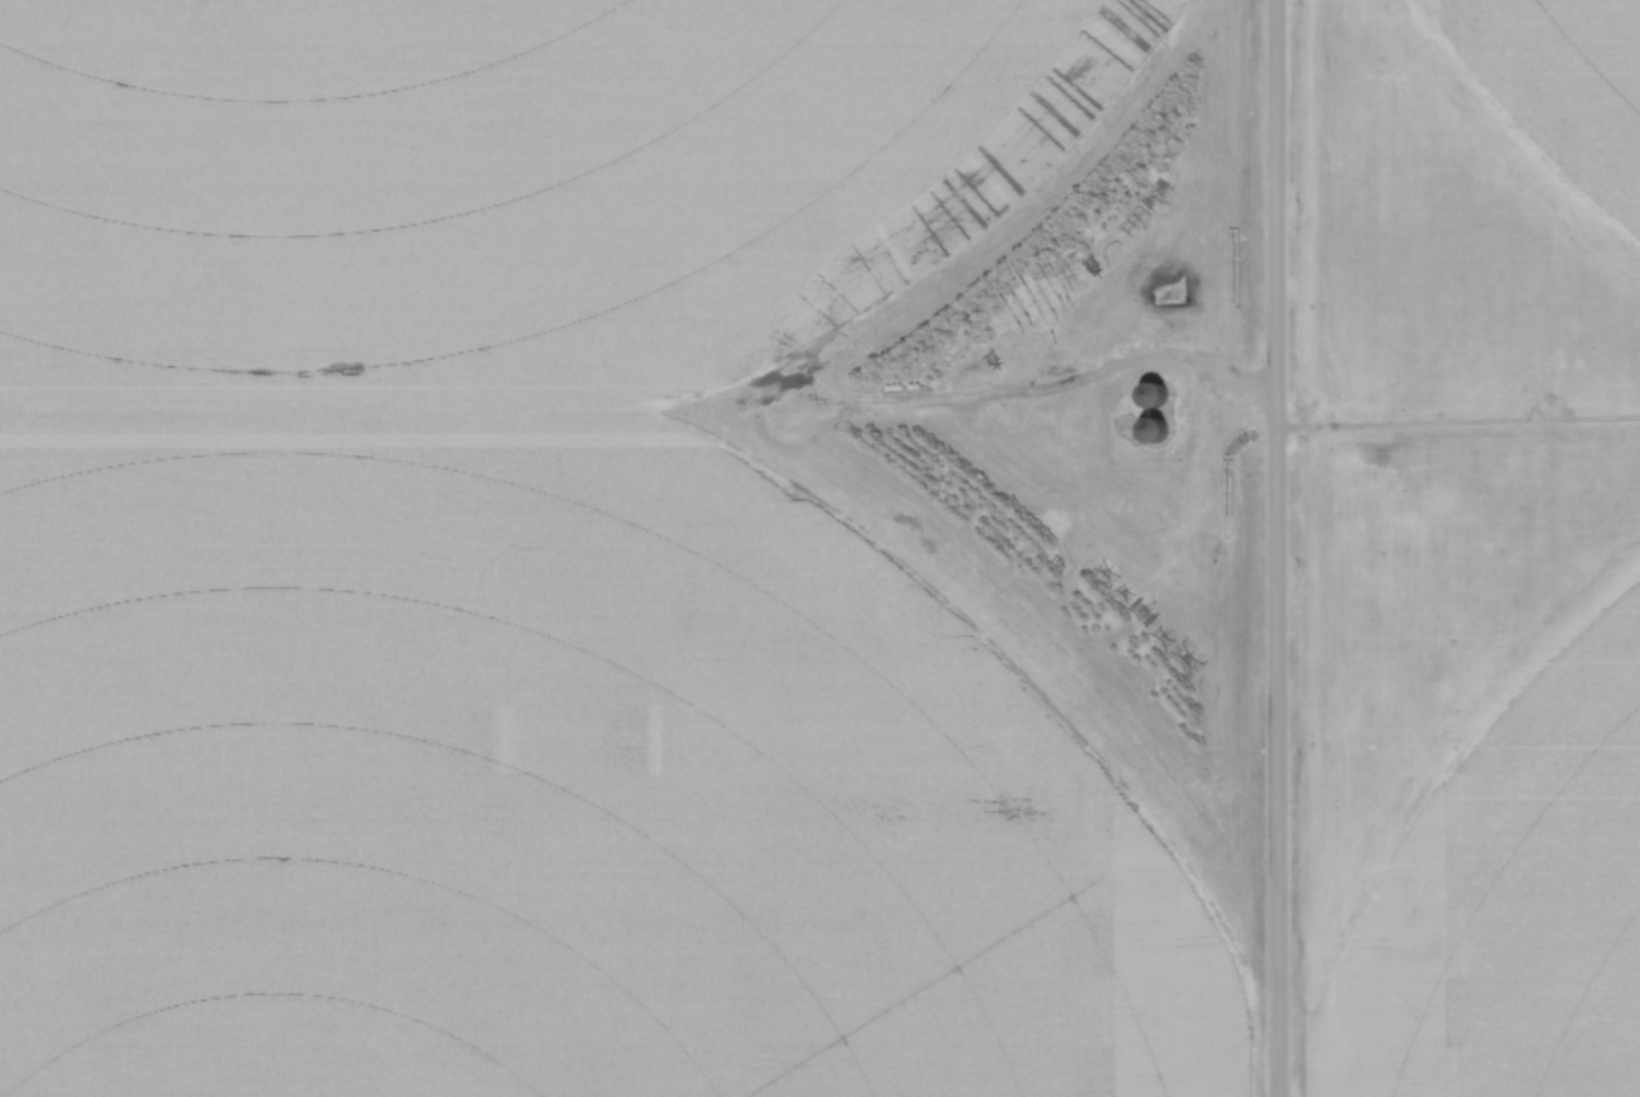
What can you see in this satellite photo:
building: (1150, 397)
building: (1151, 433)
road: (1279, 548)

